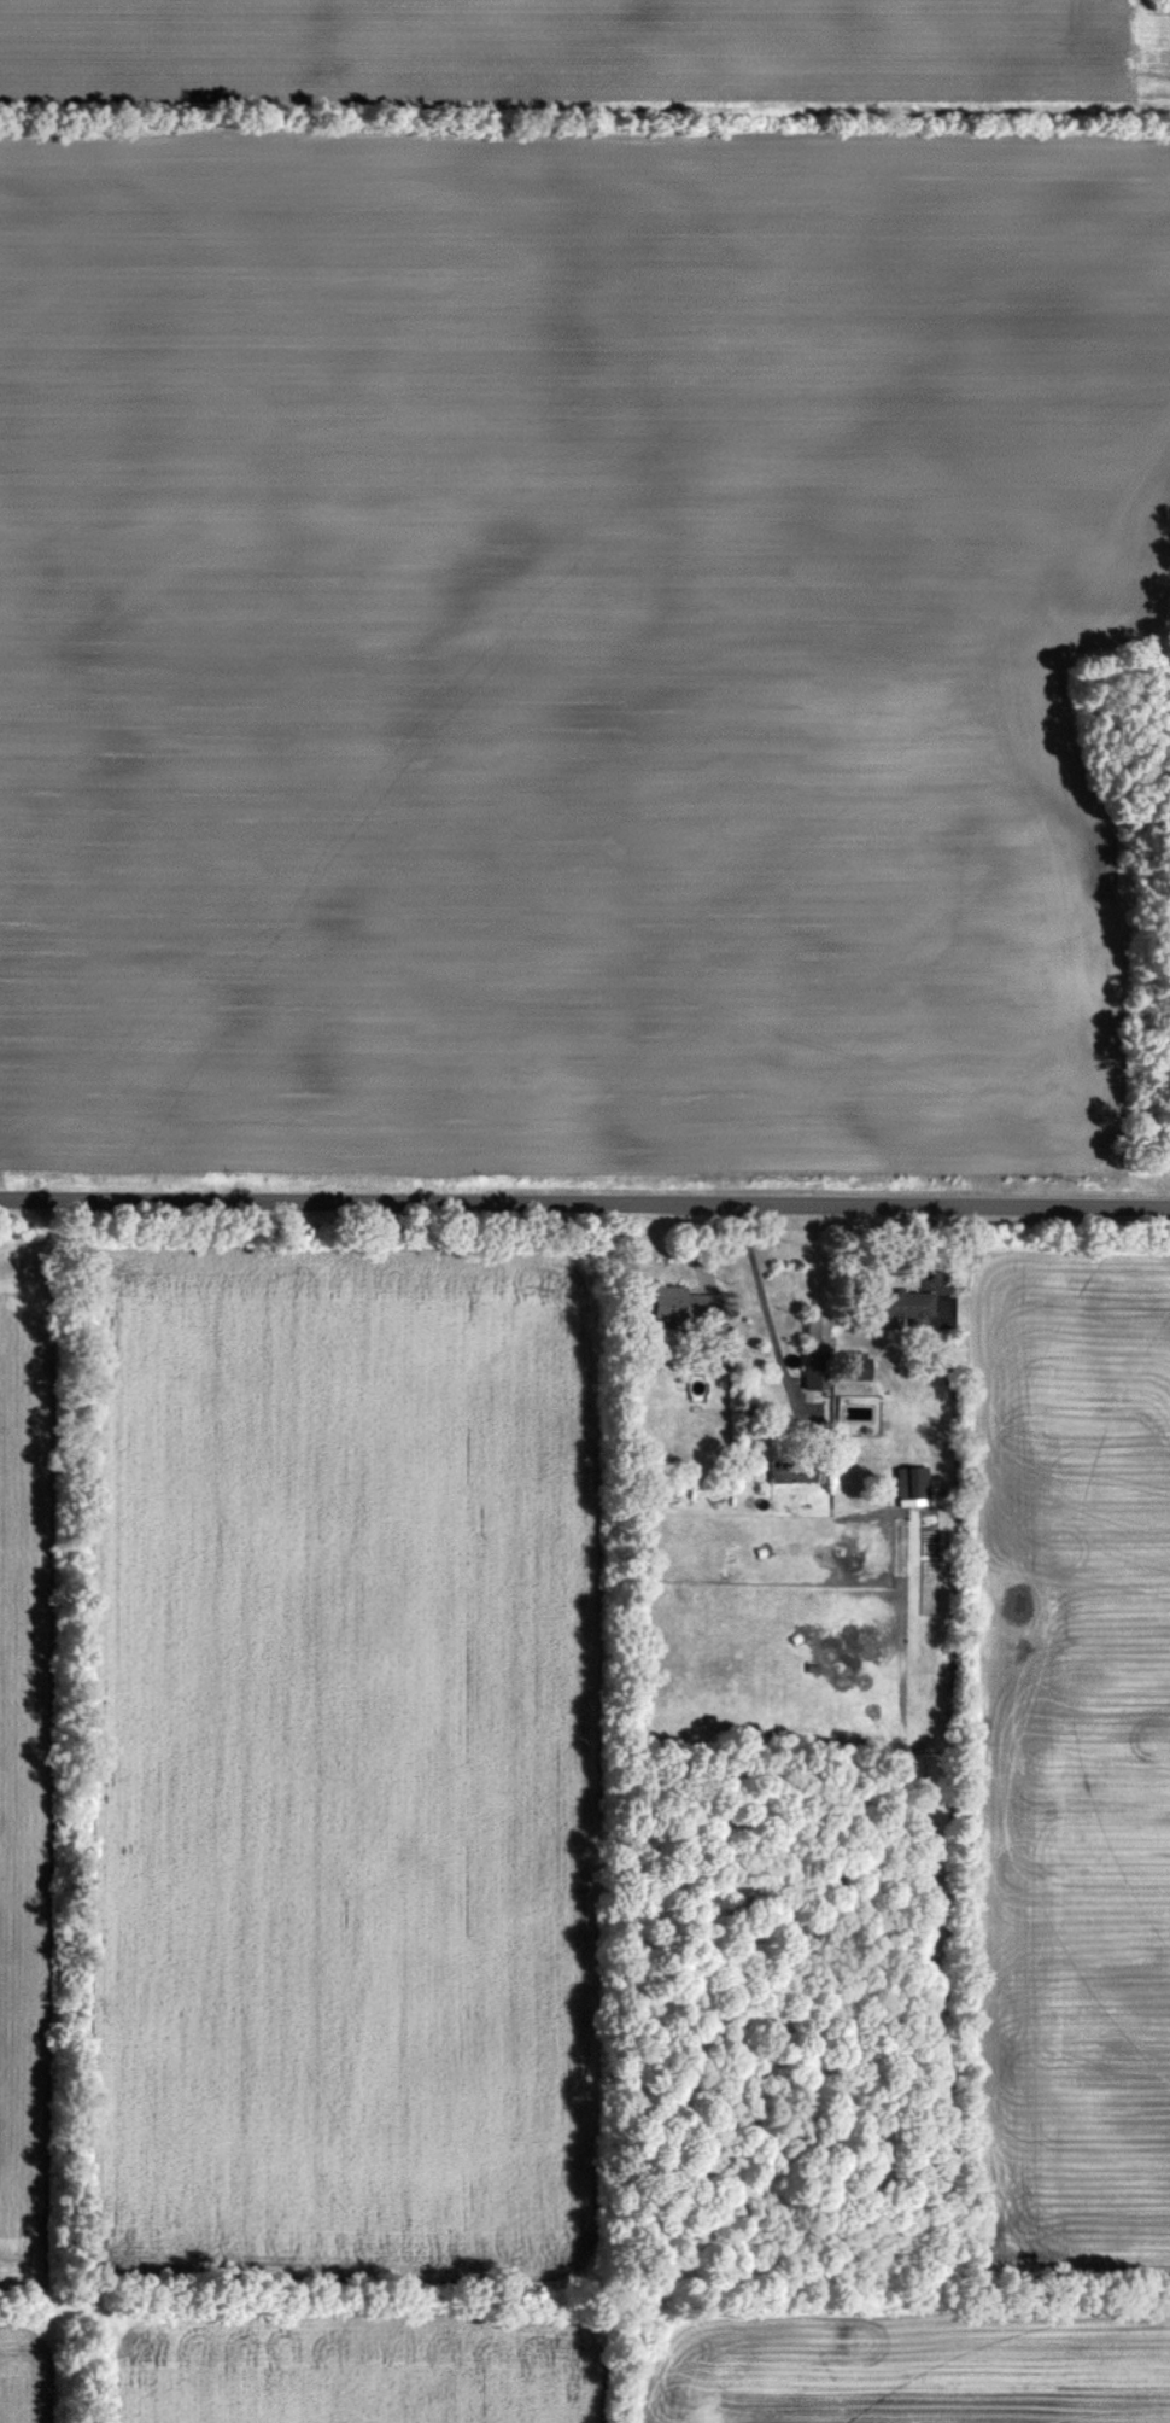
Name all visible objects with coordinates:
road: (585, 1205)
road: (765, 1307)
building: (671, 1308)
building: (901, 1313)
building: (813, 1353)
building: (846, 1373)
building: (802, 1380)
building: (694, 1390)
building: (794, 1473)
building: (905, 1490)

